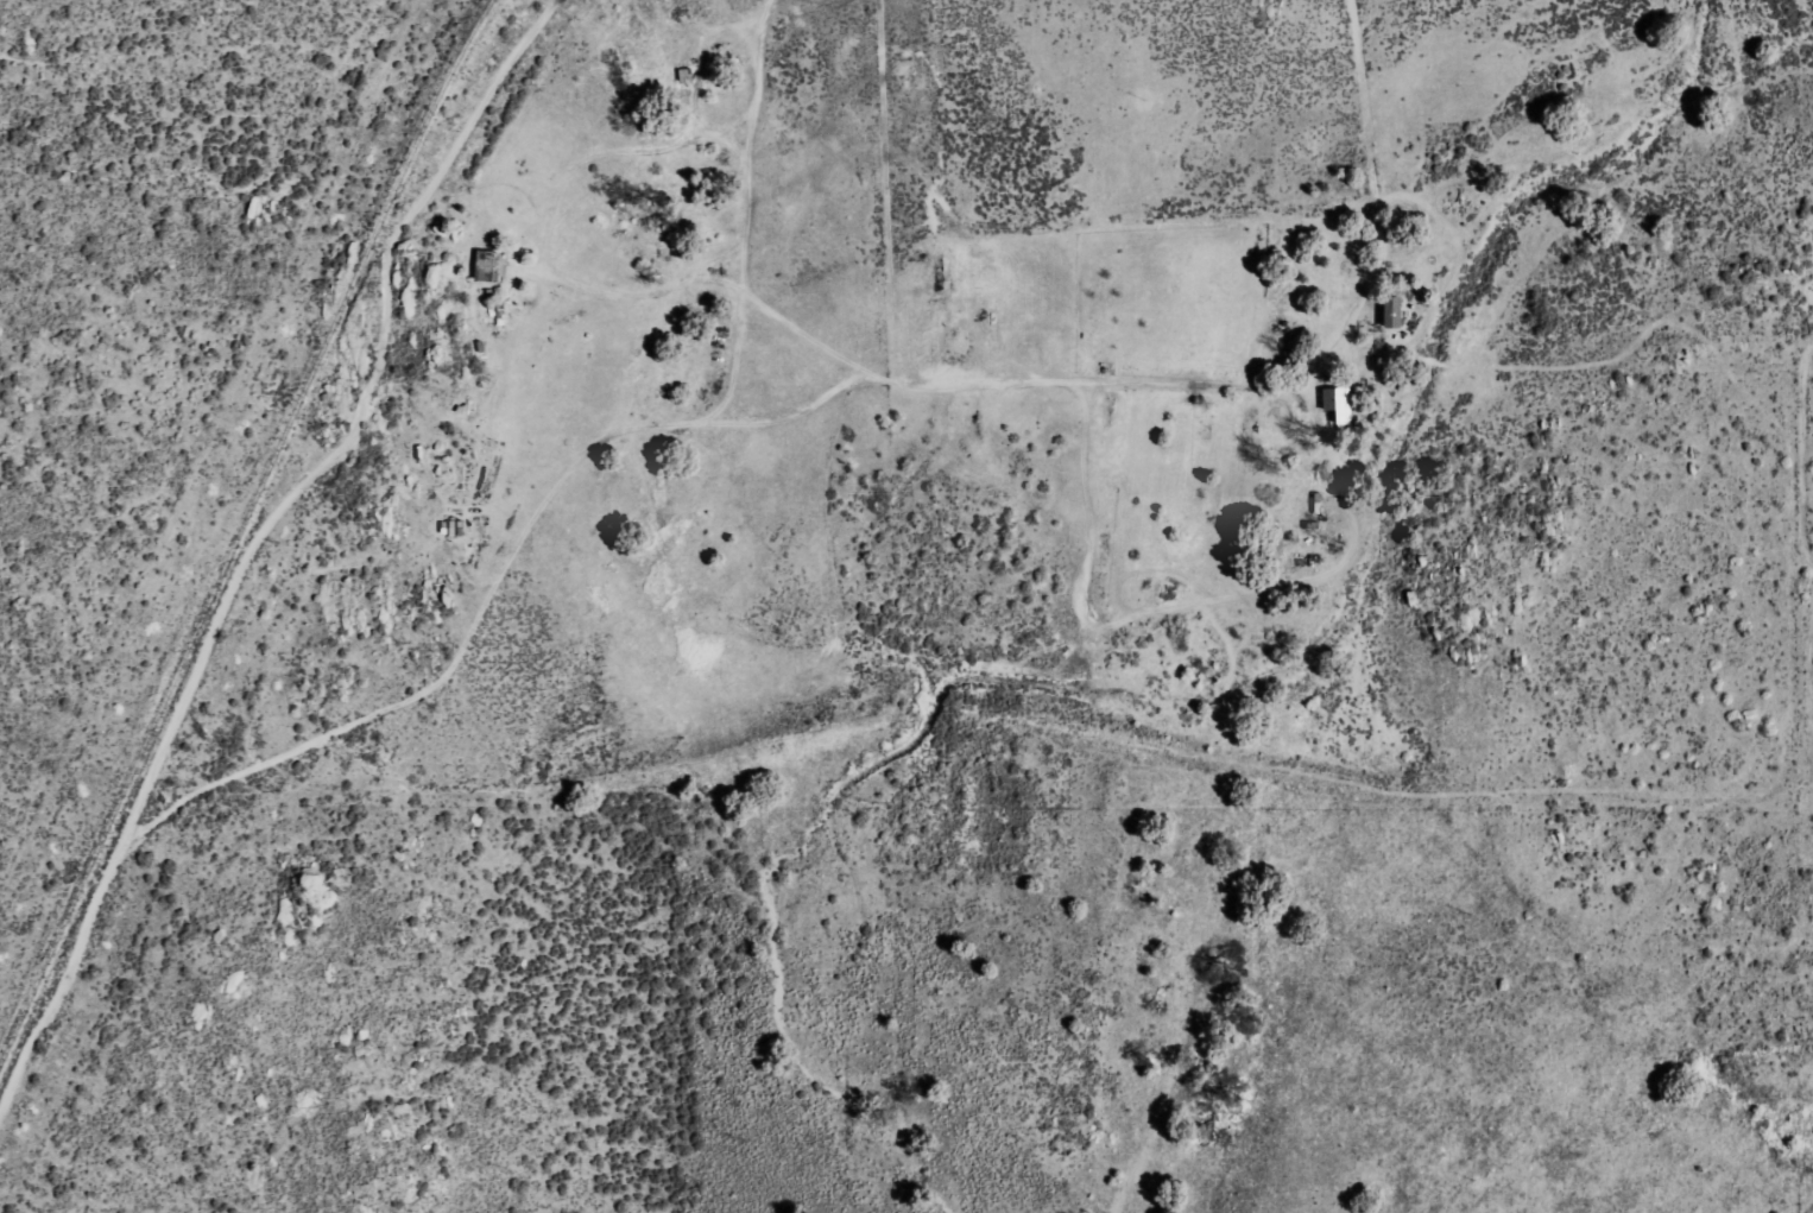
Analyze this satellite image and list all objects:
road: (1364, 100)
building: (485, 266)
road: (763, 307)
building: (1394, 311)
road: (948, 381)
building: (1338, 404)
railway: (245, 536)
road: (1730, 1160)

